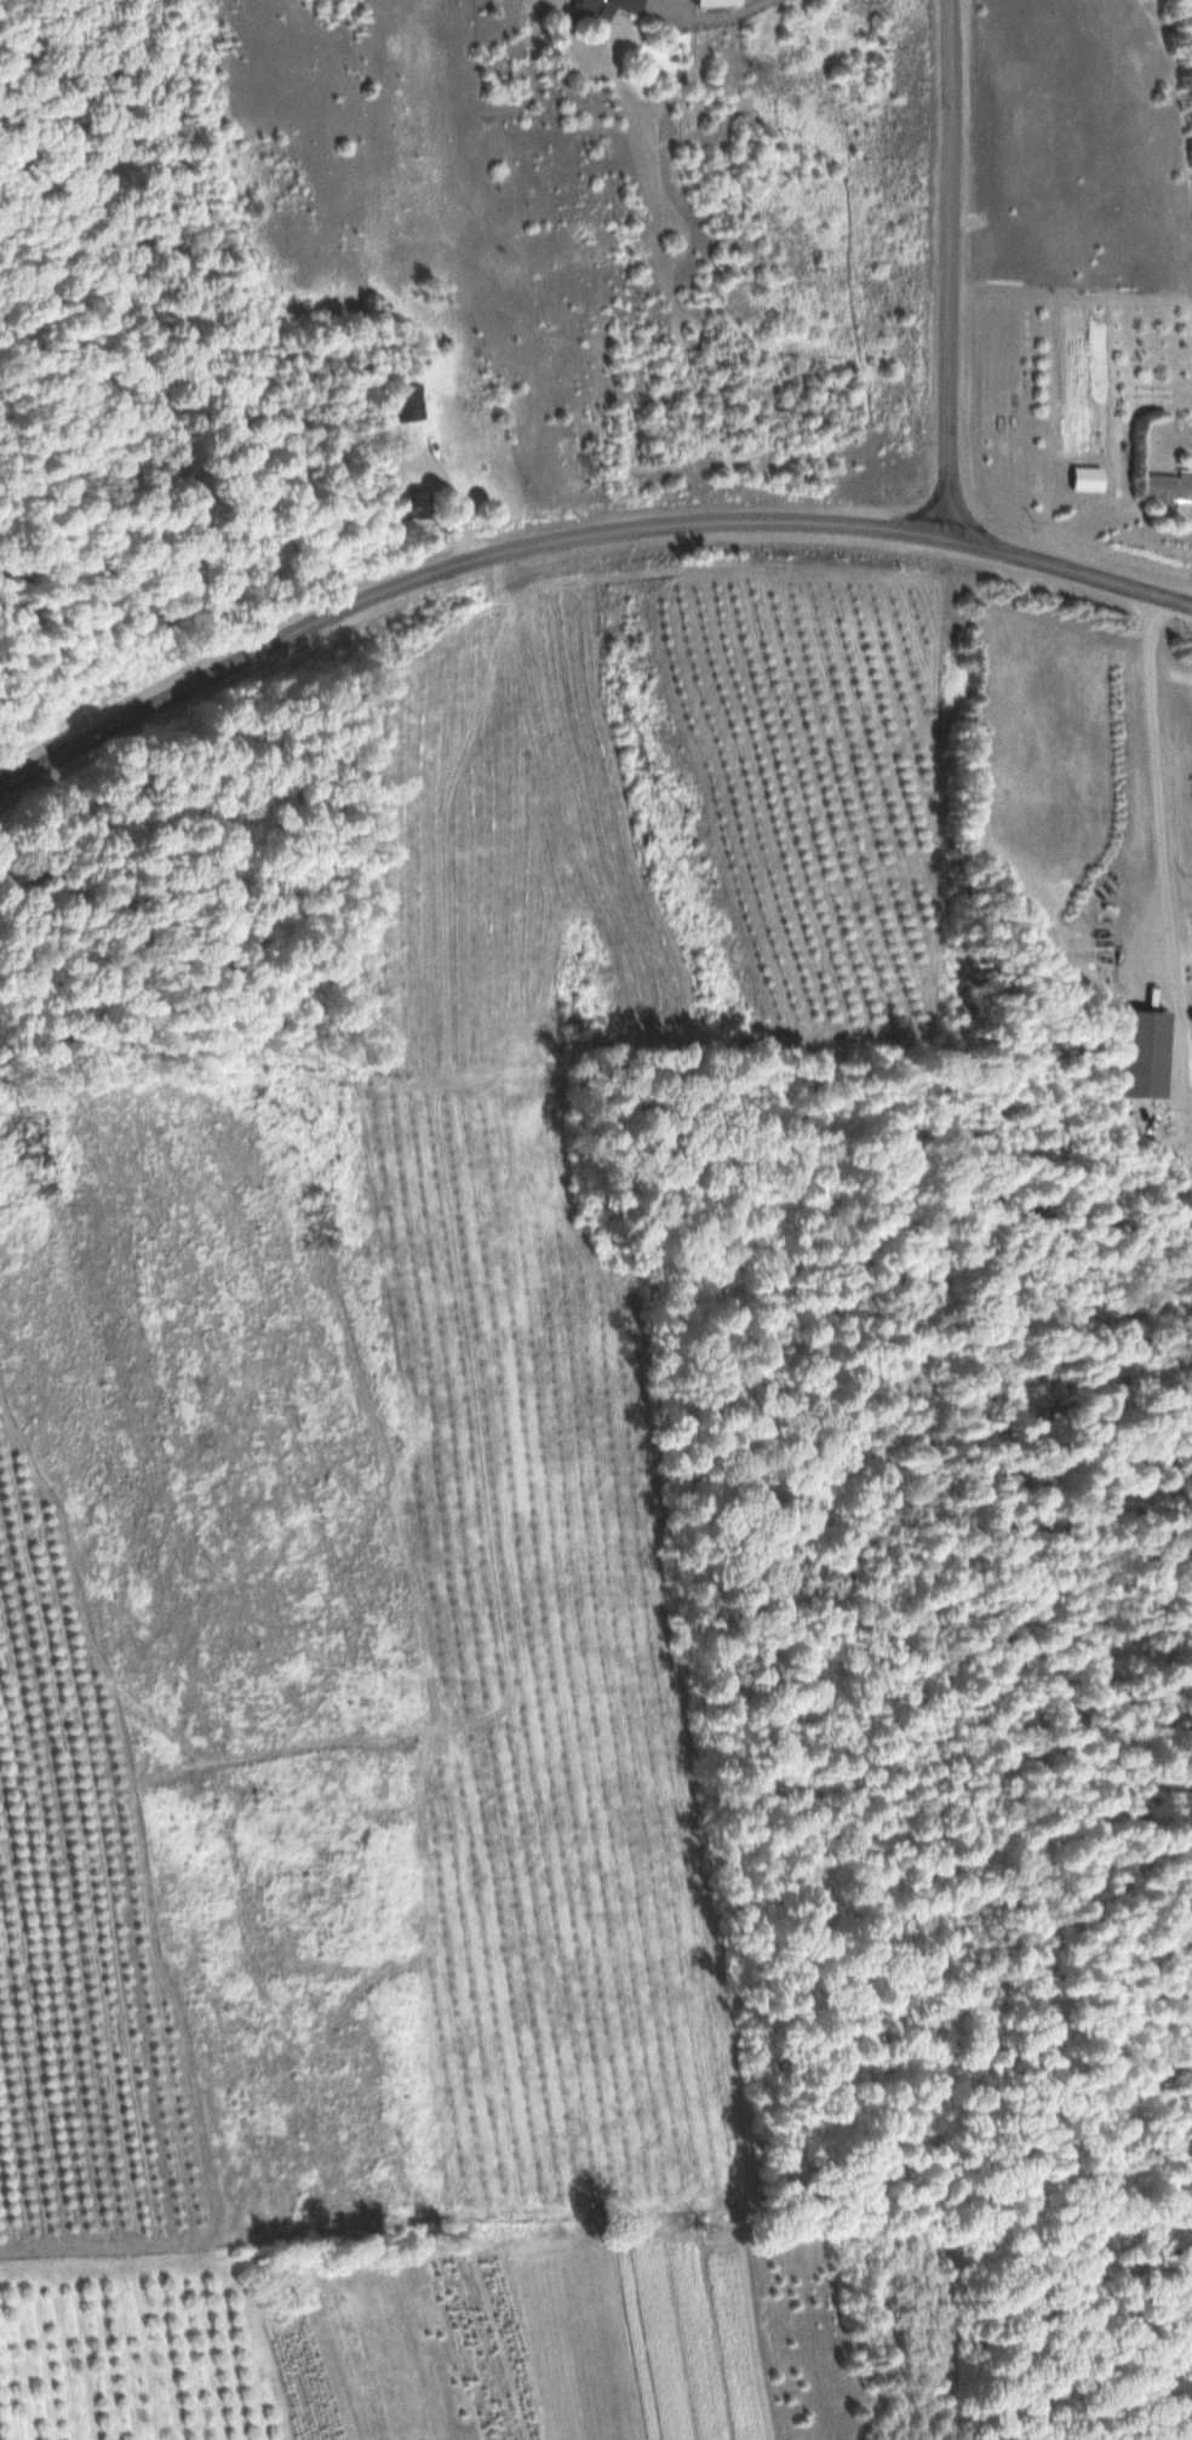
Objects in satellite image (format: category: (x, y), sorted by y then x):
building: (714, 4)
building: (603, 7)
road: (951, 270)
building: (402, 402)
building: (1165, 490)
building: (406, 507)
road: (574, 537)
building: (1142, 1056)

